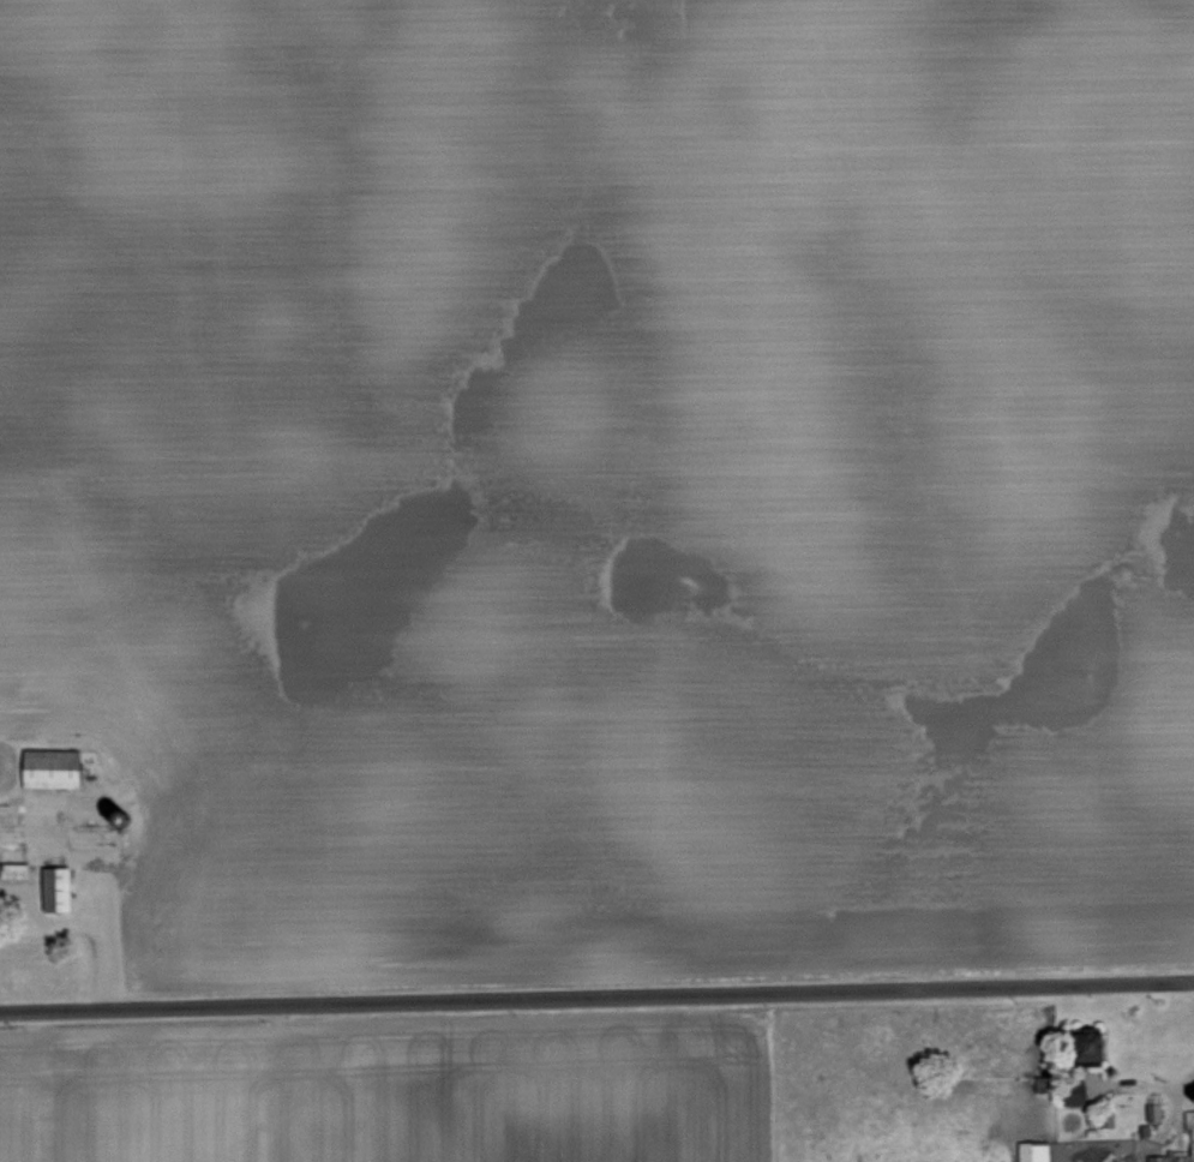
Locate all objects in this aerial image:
building: (42, 766)
building: (49, 887)
road: (596, 996)

